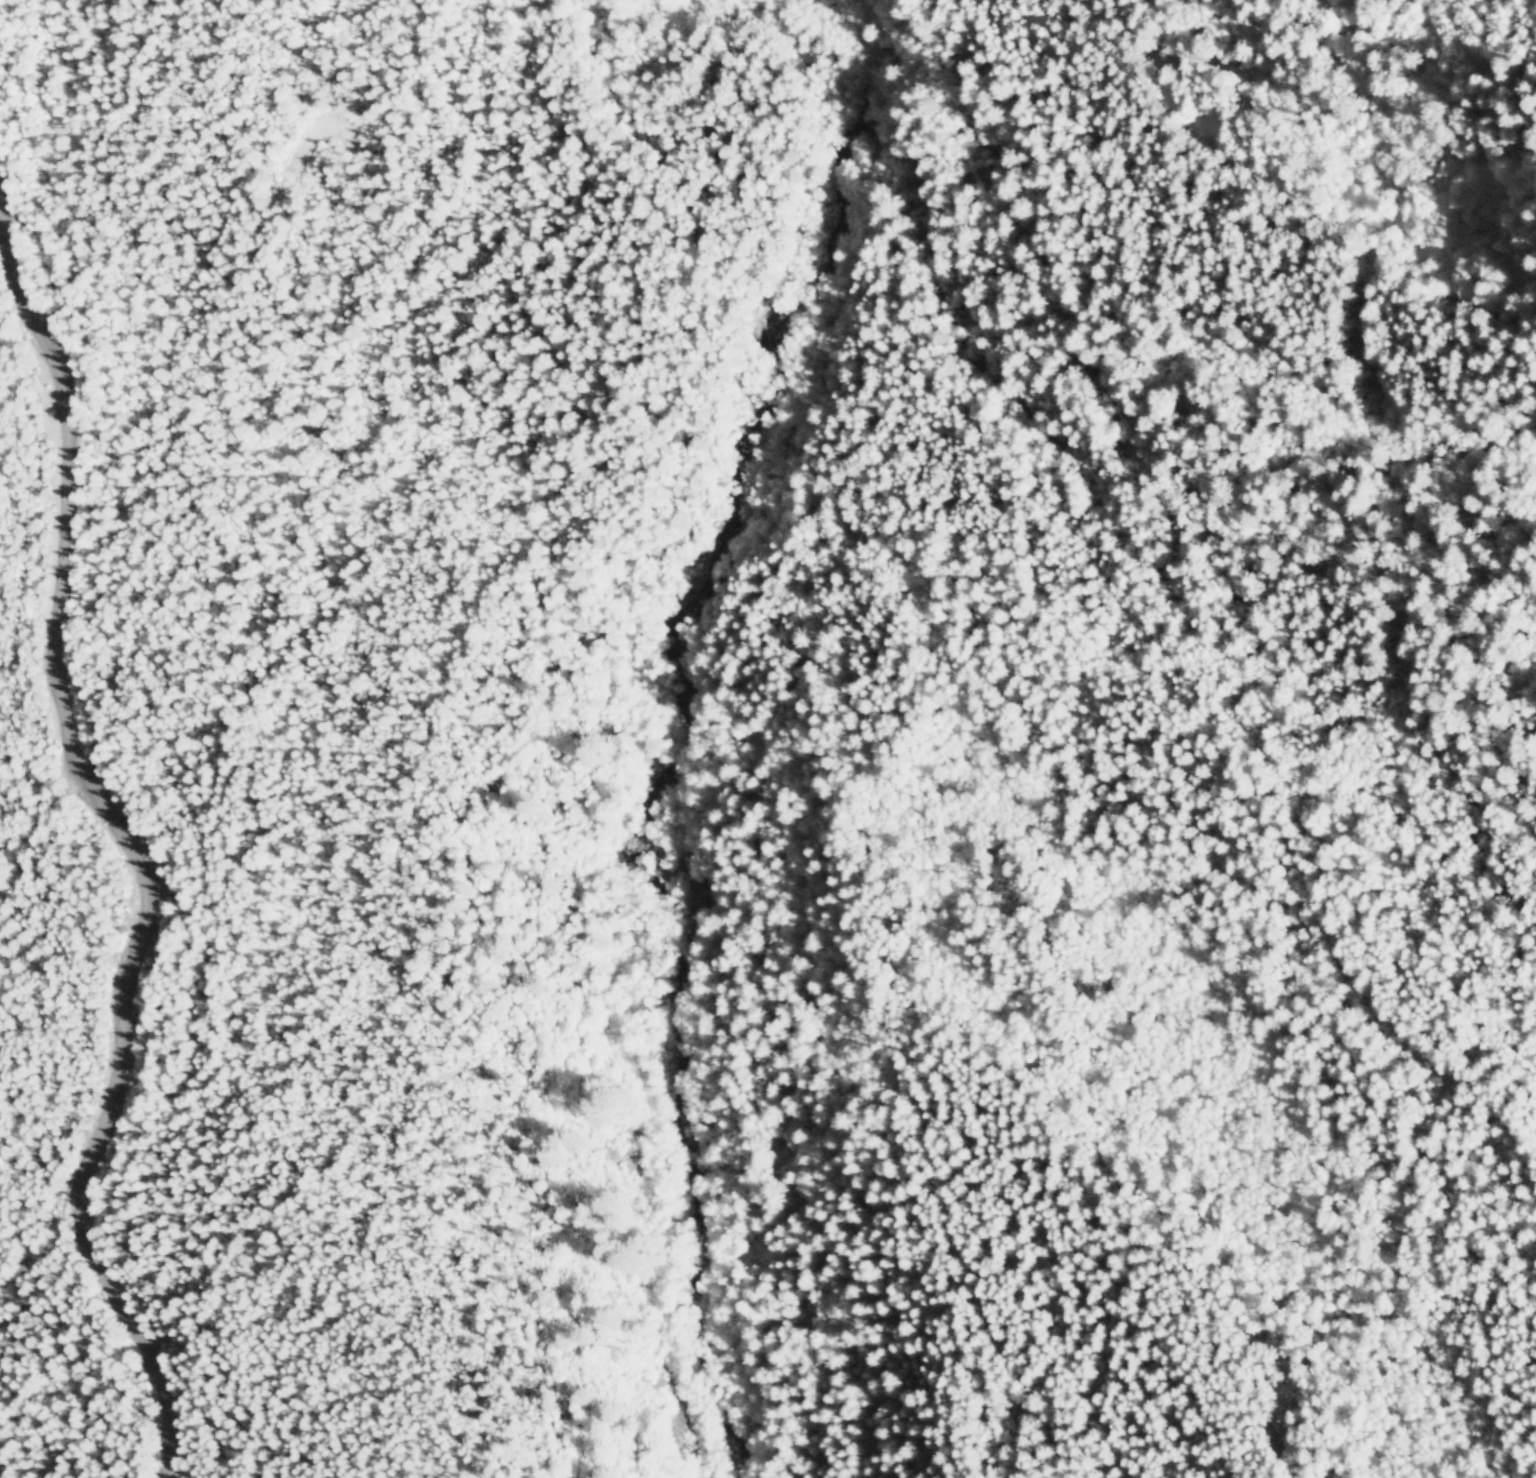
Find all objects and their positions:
road: (120, 840)

